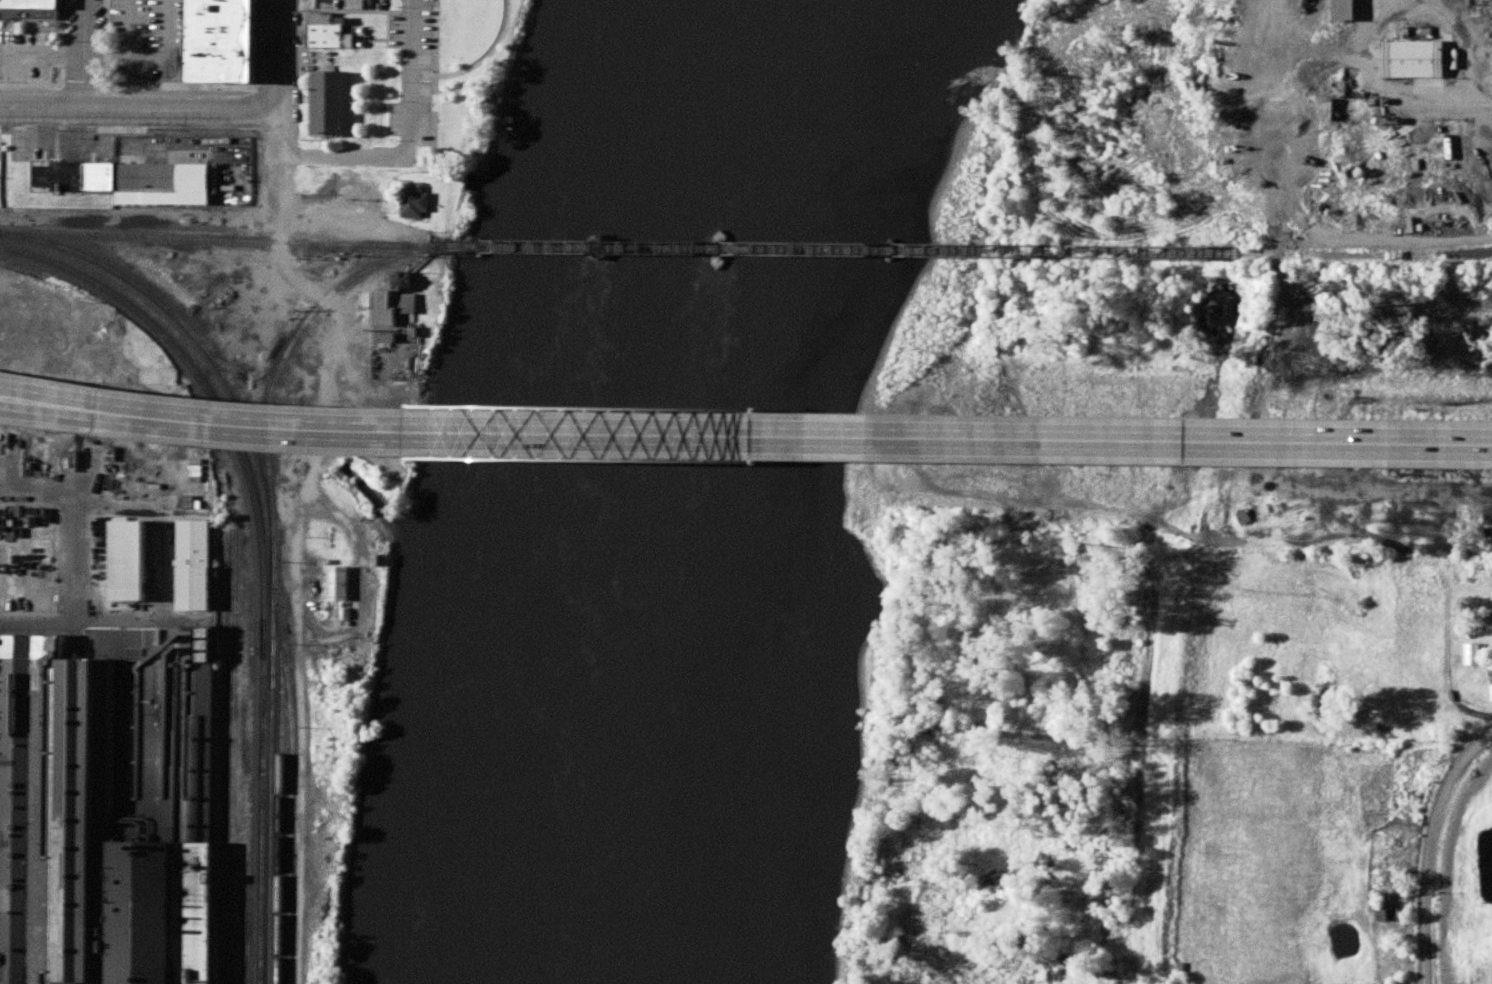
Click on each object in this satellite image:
building: (34, 10)
building: (1348, 11)
building: (333, 27)
building: (223, 41)
road: (84, 53)
road: (283, 54)
building: (1448, 56)
building: (1411, 60)
road: (482, 61)
park: (485, 72)
building: (331, 99)
road: (133, 107)
road: (277, 130)
road: (411, 143)
building: (132, 183)
building: (419, 204)
railway: (214, 241)
railway: (457, 248)
railway: (457, 249)
railway: (859, 251)
railway: (16, 254)
railway: (1465, 254)
railway: (1336, 255)
railway: (1465, 257)
railway: (353, 280)
road: (302, 286)
building: (408, 304)
railway: (176, 316)
building: (621, 356)
railway: (270, 410)
building: (48, 416)
road: (320, 433)
road: (378, 436)
building: (1152, 441)
road: (1126, 443)
river: (676, 491)
building: (1242, 518)
building: (129, 563)
building: (32, 564)
building: (196, 567)
railway: (263, 570)
building: (341, 585)
building: (1491, 621)
road: (328, 635)
building: (1470, 656)
building: (1490, 694)
railway: (268, 710)
railway: (271, 735)
railway: (281, 752)
road: (1468, 755)
railway: (223, 759)
railway: (235, 759)
railway: (292, 796)
building: (106, 809)
road: (1427, 881)
railway: (253, 889)
building: (1377, 912)
railway: (246, 943)
building: (1193, 962)
building: (1107, 975)

